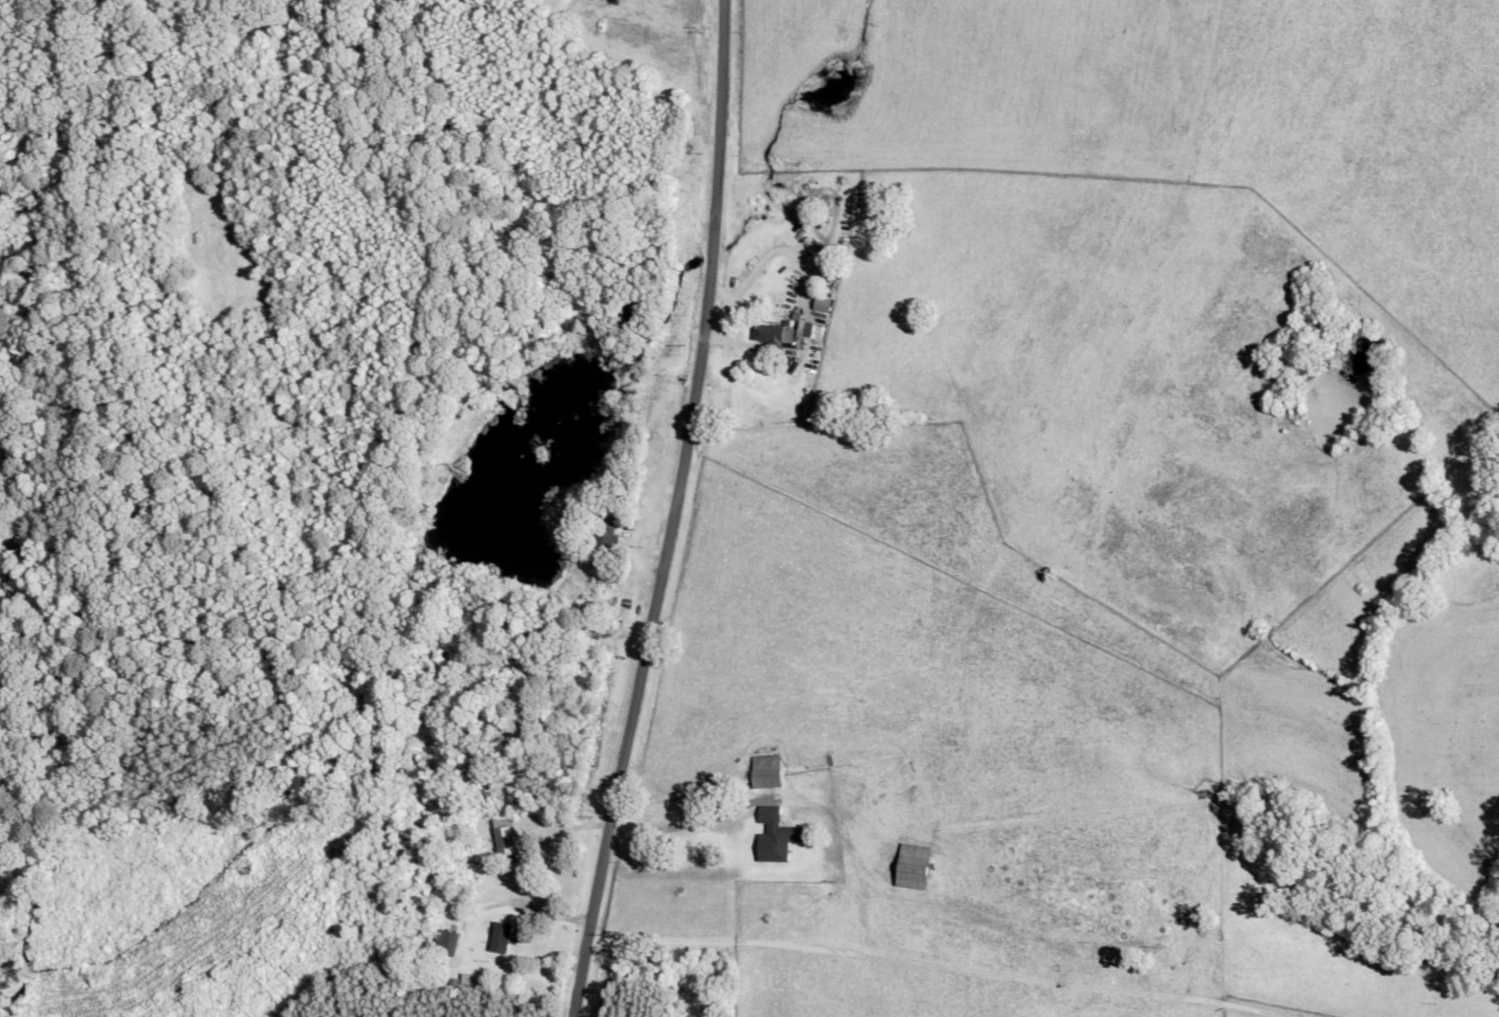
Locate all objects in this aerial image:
building: (770, 337)
road: (670, 511)
building: (608, 537)
building: (592, 636)
building: (767, 776)
road: (561, 824)
building: (503, 841)
building: (783, 844)
building: (915, 870)
road: (857, 881)
building: (502, 939)
building: (445, 947)

